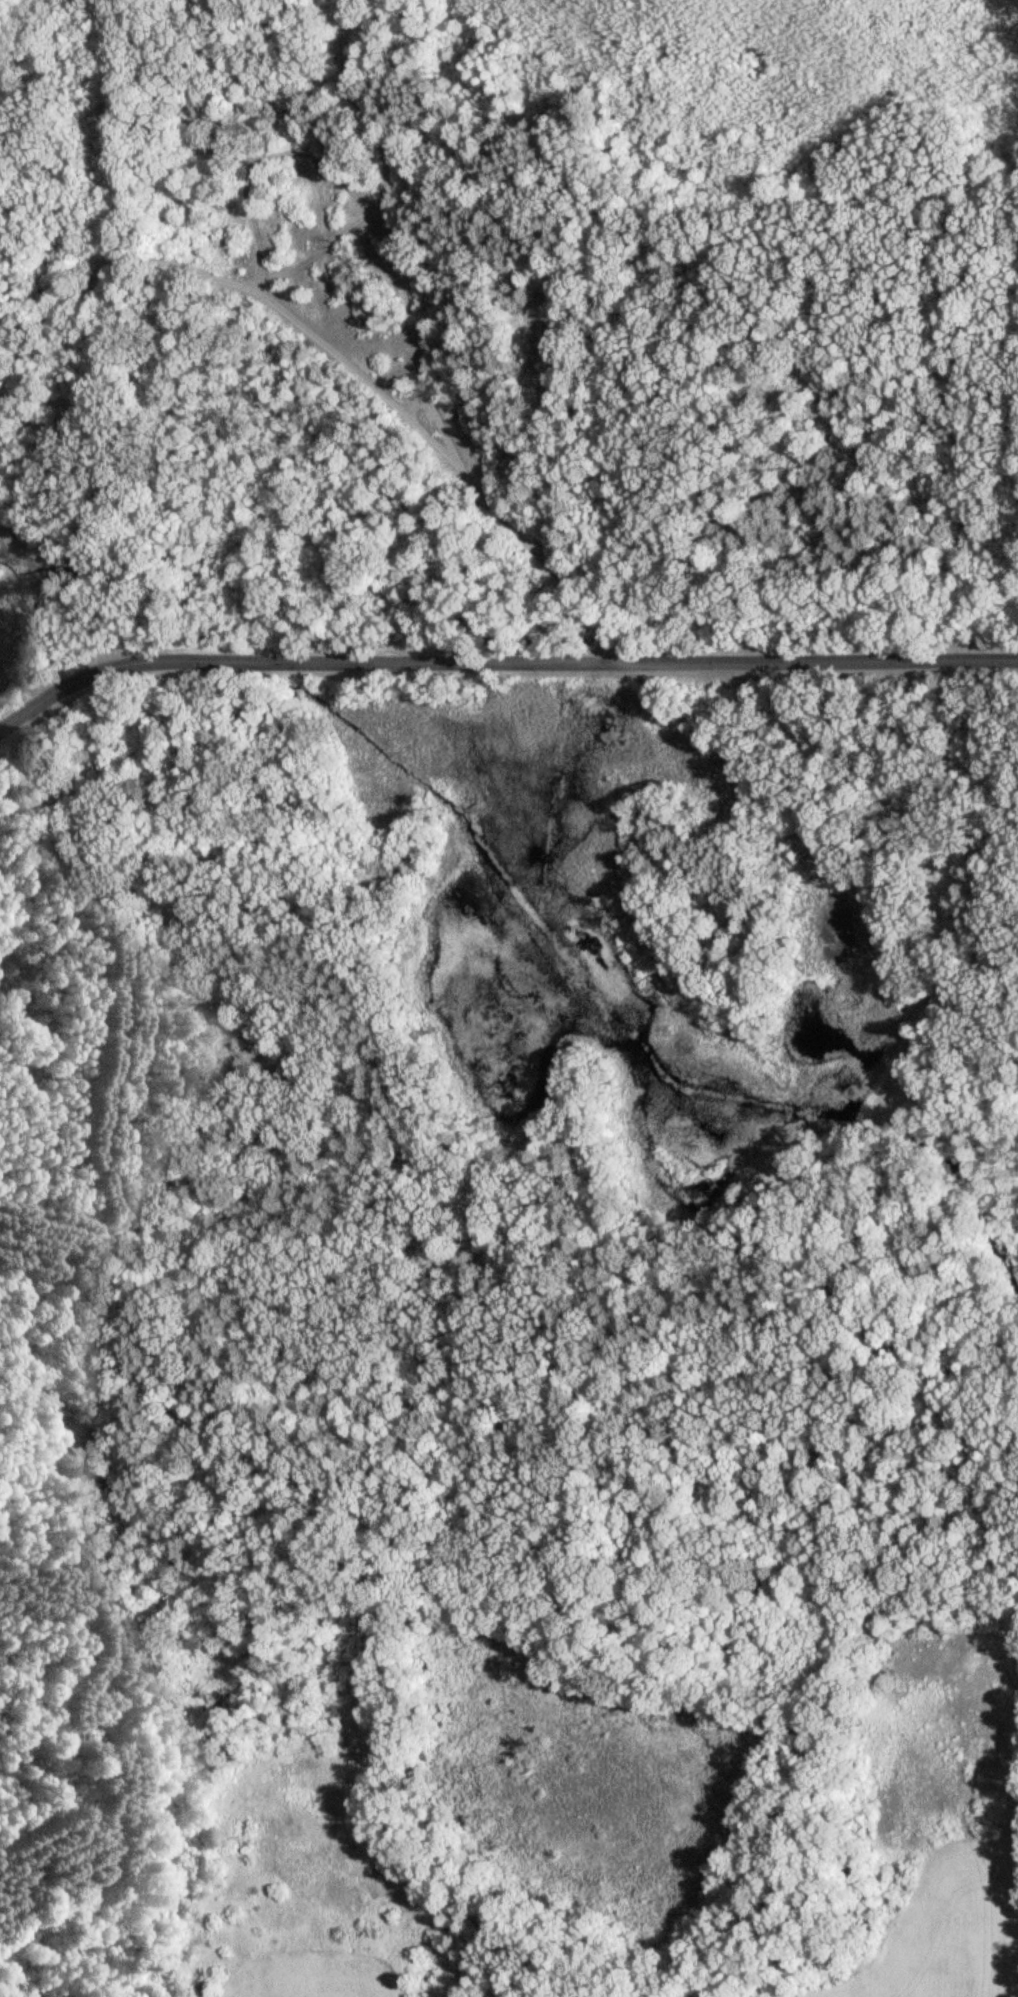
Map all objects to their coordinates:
road: (318, 253)
road: (96, 363)
road: (434, 416)
road: (536, 552)
road: (500, 659)
crop: (944, 1930)
crop: (304, 1976)

